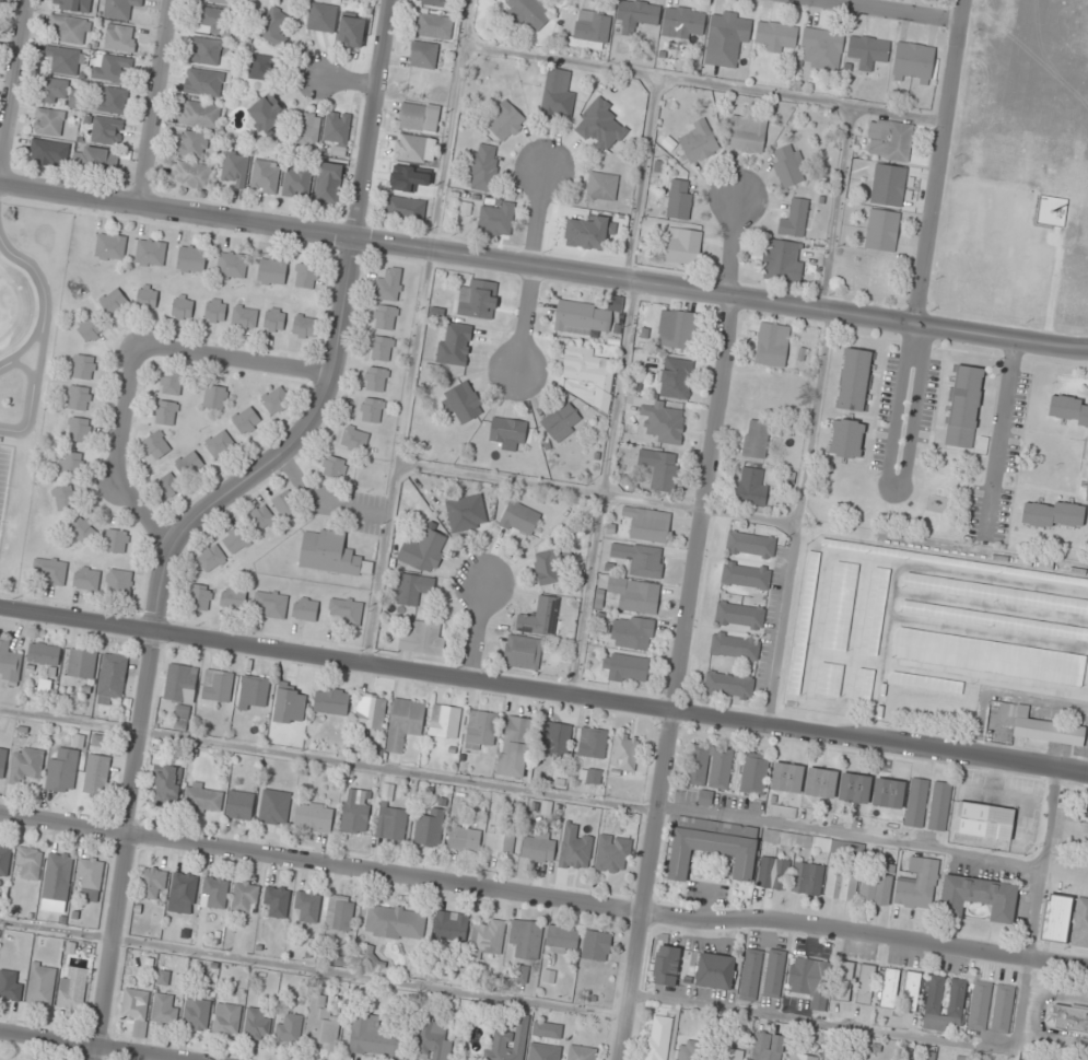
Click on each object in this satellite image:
building: (220, 1)
building: (436, 2)
building: (73, 4)
building: (120, 8)
road: (890, 10)
building: (527, 13)
building: (635, 15)
building: (321, 18)
building: (212, 21)
building: (682, 22)
building: (270, 25)
building: (433, 25)
building: (71, 28)
building: (592, 30)
building: (351, 31)
building: (774, 36)
building: (120, 37)
building: (727, 37)
building: (822, 48)
building: (204, 50)
building: (868, 51)
building: (423, 55)
building: (62, 60)
building: (914, 63)
building: (261, 67)
building: (113, 69)
building: (203, 82)
road: (351, 82)
road: (702, 82)
road: (14, 88)
building: (55, 91)
building: (557, 95)
building: (74, 98)
building: (113, 100)
road: (155, 103)
building: (266, 113)
building: (199, 114)
building: (419, 116)
building: (48, 121)
building: (506, 123)
building: (307, 129)
building: (107, 130)
building: (338, 131)
building: (747, 135)
building: (889, 140)
building: (698, 142)
building: (191, 143)
building: (410, 148)
building: (47, 152)
building: (98, 159)
road: (938, 162)
building: (789, 165)
building: (235, 167)
building: (484, 167)
building: (190, 174)
building: (265, 176)
road: (640, 177)
building: (296, 183)
building: (328, 183)
building: (888, 185)
building: (601, 186)
building: (677, 199)
building: (406, 208)
road: (834, 208)
building: (496, 217)
building: (794, 218)
building: (882, 230)
building: (589, 232)
building: (110, 246)
building: (682, 246)
building: (150, 253)
building: (191, 258)
building: (781, 261)
building: (231, 265)
building: (271, 270)
road: (542, 270)
road: (533, 271)
road: (37, 275)
building: (305, 276)
building: (388, 286)
building: (147, 295)
building: (478, 299)
building: (113, 301)
road: (343, 306)
building: (183, 307)
building: (215, 311)
building: (244, 317)
building: (385, 317)
building: (582, 317)
building: (274, 319)
building: (305, 327)
building: (90, 329)
building: (679, 330)
road: (417, 331)
building: (454, 343)
building: (772, 345)
road: (26, 346)
building: (381, 348)
road: (39, 353)
road: (234, 361)
building: (83, 366)
building: (589, 374)
building: (675, 377)
building: (375, 378)
building: (855, 380)
building: (172, 382)
road: (32, 396)
building: (79, 397)
building: (214, 397)
building: (274, 399)
building: (461, 403)
building: (964, 406)
building: (372, 409)
building: (1067, 411)
building: (165, 412)
building: (246, 420)
building: (562, 421)
building: (664, 422)
building: (78, 430)
building: (507, 433)
building: (354, 438)
building: (756, 439)
building: (846, 439)
building: (219, 443)
building: (156, 445)
road: (120, 456)
building: (70, 463)
building: (189, 464)
building: (334, 467)
building: (660, 468)
building: (166, 486)
building: (751, 487)
road: (603, 488)
road: (596, 492)
building: (1087, 494)
building: (63, 498)
building: (284, 504)
building: (466, 513)
building: (1053, 514)
building: (261, 516)
road: (796, 517)
building: (519, 519)
building: (648, 524)
building: (83, 529)
building: (117, 540)
building: (234, 540)
building: (751, 544)
building: (424, 549)
building: (331, 554)
building: (211, 558)
building: (641, 559)
building: (547, 568)
building: (50, 570)
building: (746, 574)
building: (86, 578)
building: (118, 581)
building: (412, 589)
building: (995, 593)
building: (634, 594)
building: (200, 597)
building: (233, 597)
building: (270, 604)
building: (840, 606)
building: (305, 608)
building: (346, 610)
building: (875, 610)
building: (739, 615)
building: (540, 616)
building: (993, 620)
building: (804, 622)
road: (476, 630)
road: (682, 630)
building: (632, 632)
building: (421, 638)
building: (735, 645)
building: (523, 652)
building: (44, 654)
building: (988, 656)
building: (9, 661)
building: (82, 663)
building: (625, 667)
building: (112, 678)
building: (829, 678)
building: (925, 683)
building: (182, 685)
building: (218, 685)
building: (728, 685)
building: (863, 685)
building: (254, 691)
road: (543, 691)
building: (331, 700)
building: (290, 706)
building: (370, 712)
building: (445, 720)
building: (405, 723)
building: (1044, 727)
building: (480, 729)
building: (100, 739)
building: (555, 739)
building: (593, 742)
building: (515, 746)
building: (625, 752)
road: (327, 759)
building: (2, 762)
building: (26, 764)
building: (709, 766)
building: (62, 770)
building: (96, 773)
building: (754, 773)
building: (787, 777)
building: (821, 782)
building: (167, 785)
building: (855, 788)
building: (888, 793)
building: (203, 799)
road: (129, 803)
building: (916, 803)
building: (239, 805)
building: (274, 806)
building: (939, 806)
building: (356, 811)
building: (782, 811)
building: (1085, 811)
building: (390, 816)
building: (313, 817)
building: (984, 820)
building: (430, 827)
road: (849, 836)
building: (464, 838)
building: (500, 840)
building: (538, 847)
building: (840, 847)
building: (575, 848)
building: (711, 852)
building: (613, 853)
building: (4, 859)
building: (28, 862)
building: (59, 867)
building: (772, 873)
building: (91, 878)
building: (807, 878)
building: (153, 883)
building: (842, 884)
building: (917, 884)
building: (877, 887)
building: (214, 892)
building: (183, 893)
building: (979, 896)
building: (245, 897)
road: (543, 897)
building: (276, 901)
building: (307, 906)
building: (338, 912)
building: (1055, 918)
building: (395, 922)
building: (1080, 923)
building: (451, 927)
building: (487, 937)
building: (526, 937)
building: (562, 939)
building: (596, 945)
building: (666, 965)
road: (312, 968)
building: (715, 970)
building: (774, 974)
building: (751, 975)
building: (810, 979)
building: (844, 980)
building: (42, 983)
building: (866, 983)
building: (11, 985)
building: (72, 988)
building: (890, 988)
building: (912, 991)
building: (946, 1002)
building: (134, 1004)
building: (980, 1005)
building: (165, 1009)
building: (1003, 1009)
building: (196, 1013)
building: (226, 1018)
building: (1069, 1018)
building: (258, 1023)
building: (323, 1024)
building: (289, 1027)
building: (547, 1029)
building: (376, 1038)
building: (657, 1038)
building: (434, 1041)
road: (957, 1041)
building: (510, 1042)
road: (91, 1046)
building: (768, 1047)
building: (690, 1050)
building: (543, 1051)
building: (581, 1052)
building: (732, 1053)
building: (927, 1056)
building: (802, 1057)
building: (835, 1058)
building: (904, 1059)

